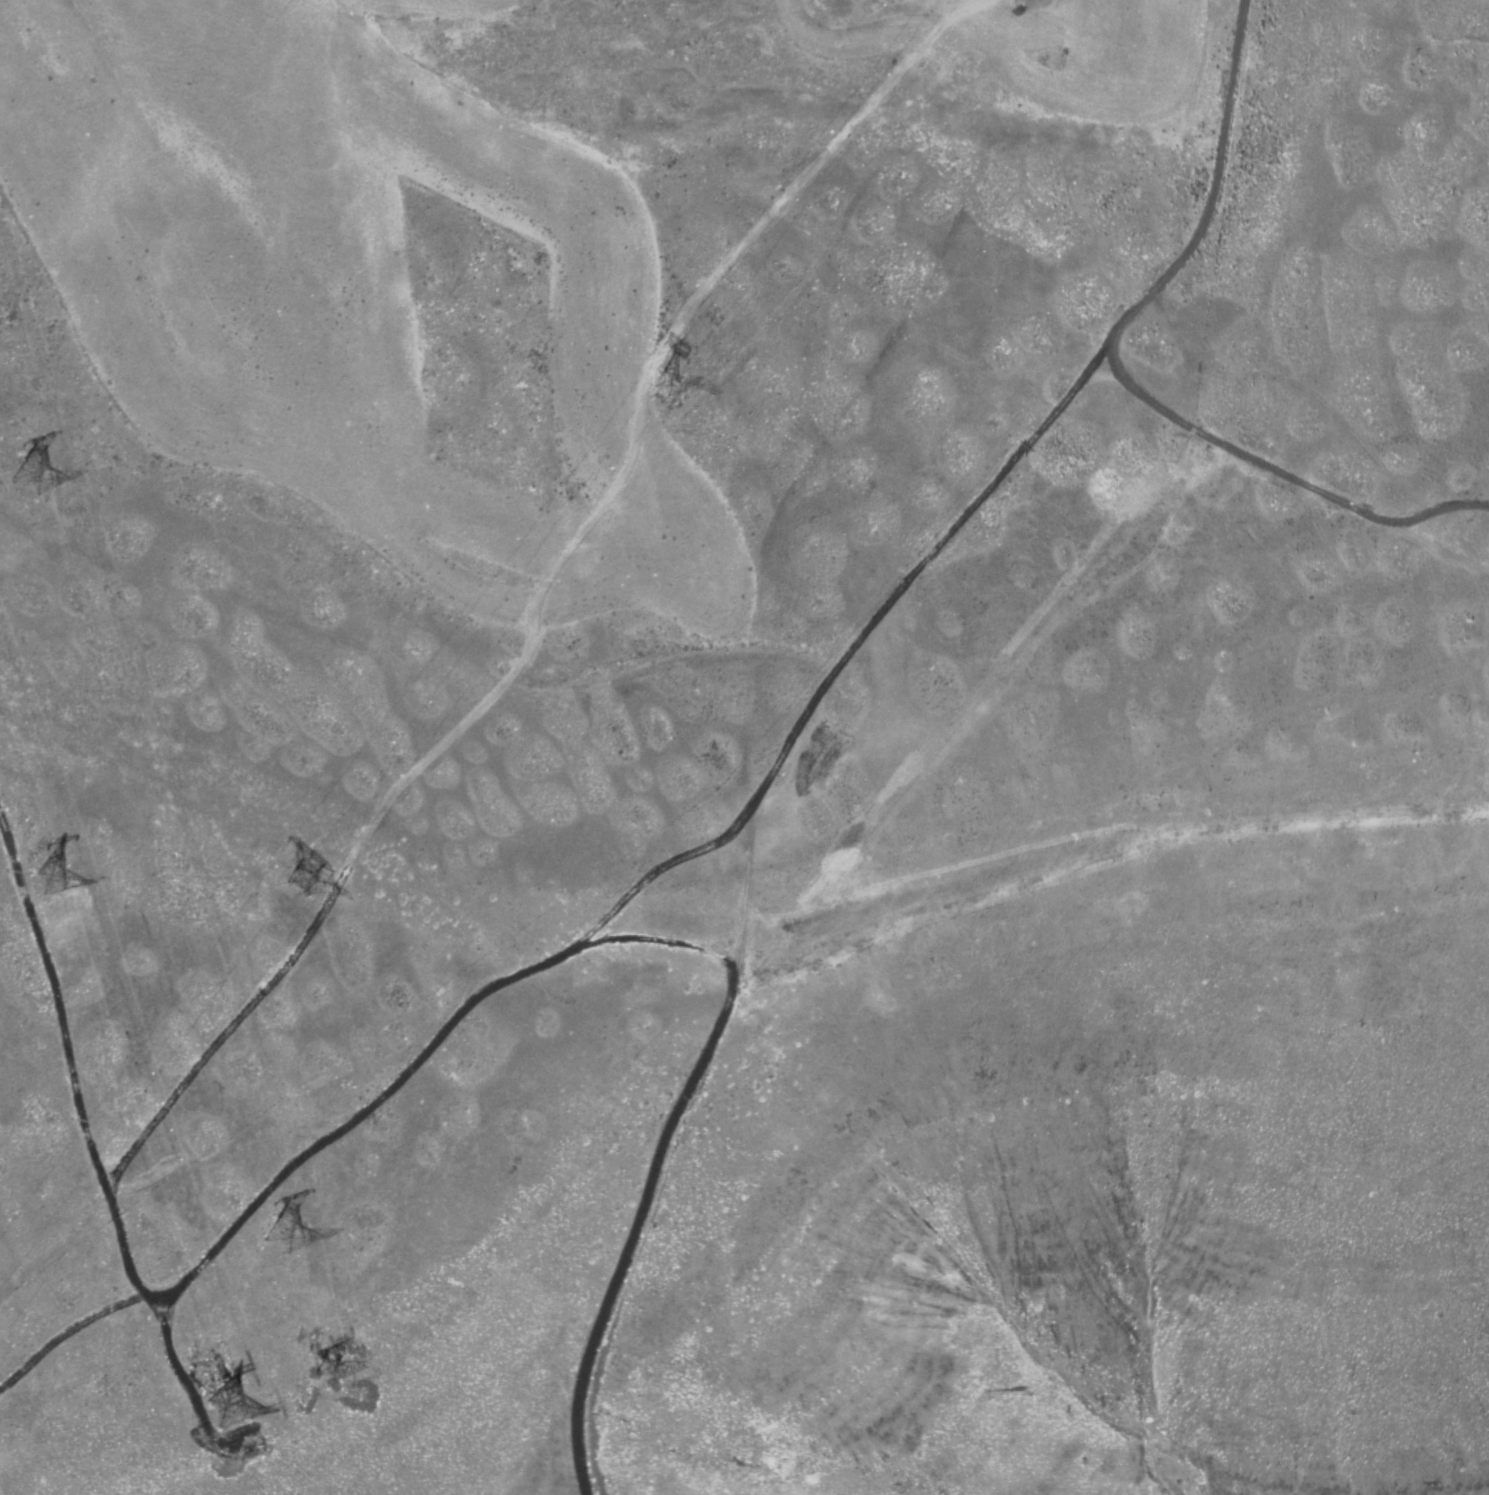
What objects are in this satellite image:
power tower: (698, 335)
road: (1120, 372)
power tower: (36, 479)
power tower: (48, 872)
power tower: (309, 873)
road: (432, 1040)
power tower: (270, 1221)
power tower: (326, 1359)
power tower: (220, 1395)

